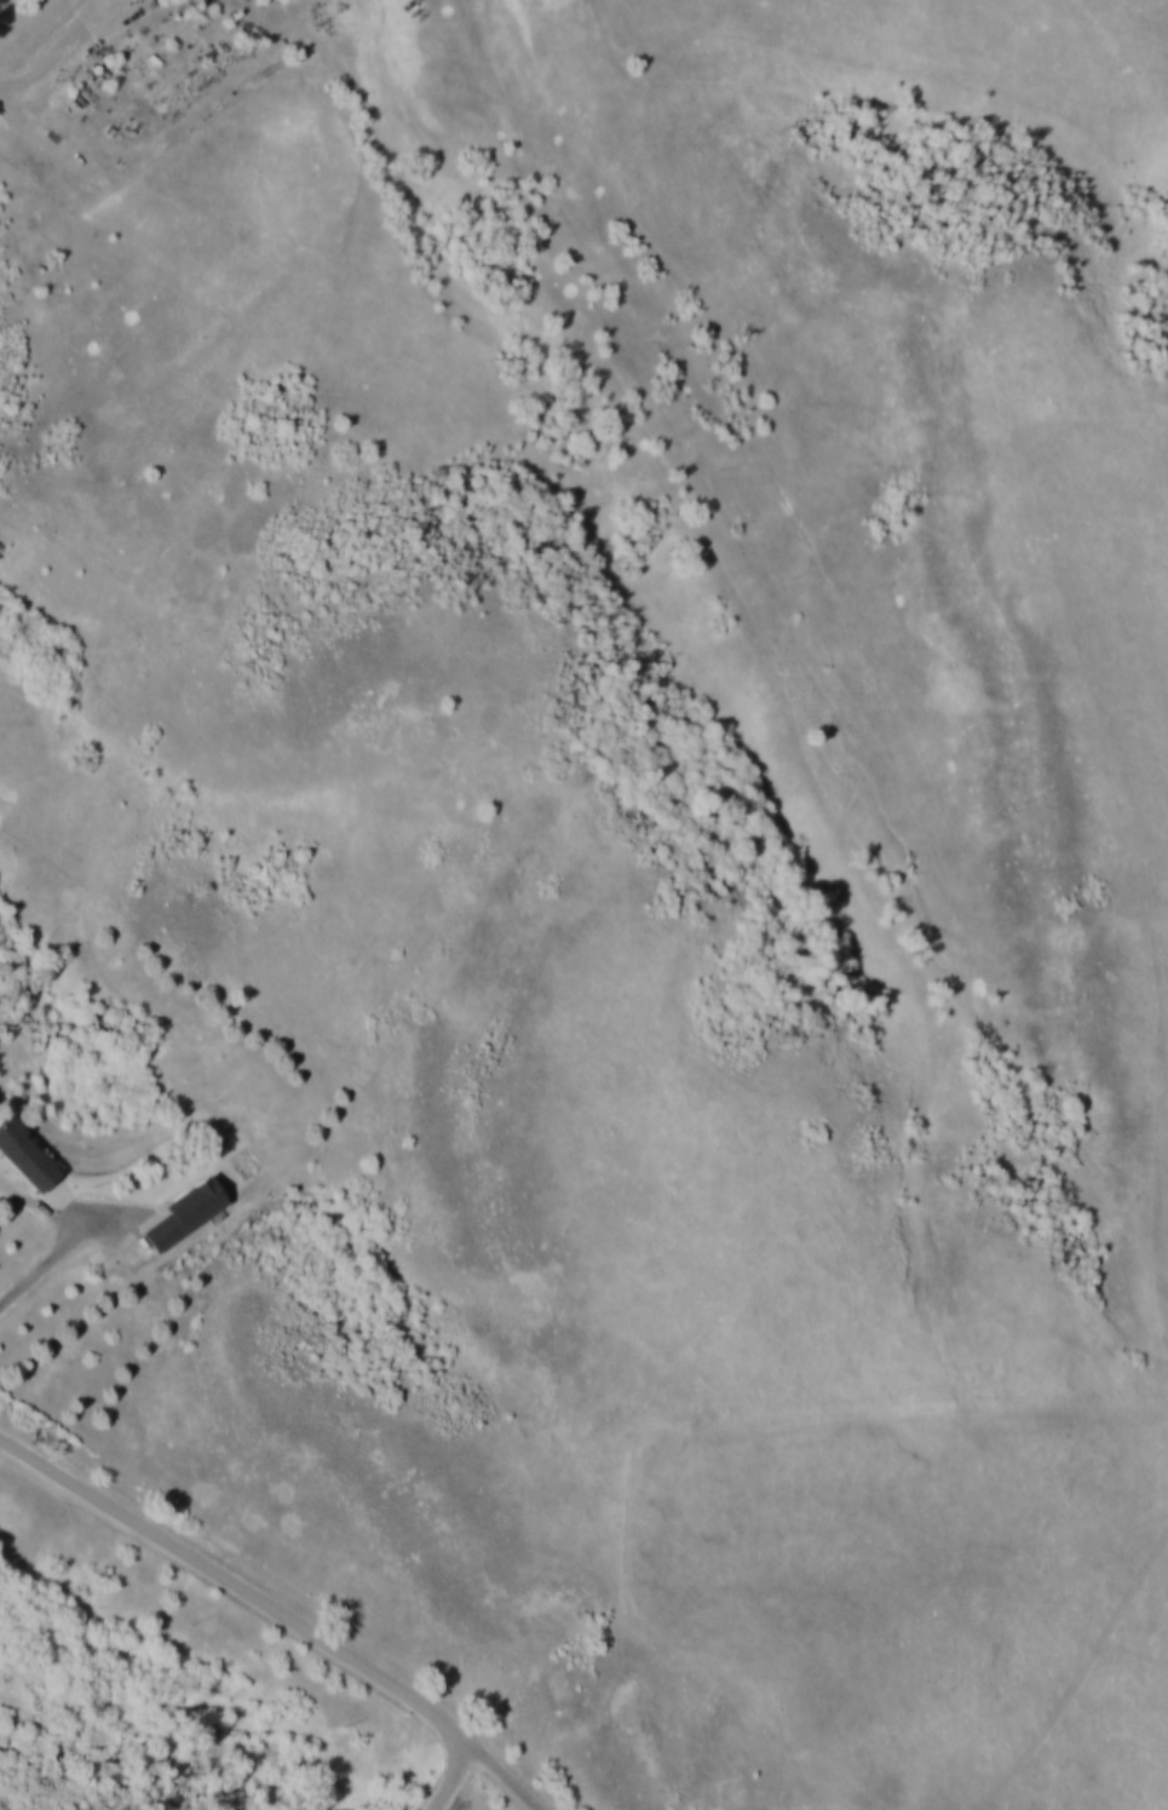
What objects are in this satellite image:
road: (246, 2)
road: (94, 44)
road: (743, 619)
building: (27, 1155)
building: (197, 1203)
road: (54, 1253)
road: (232, 1579)
road: (502, 1768)
road: (455, 1772)

